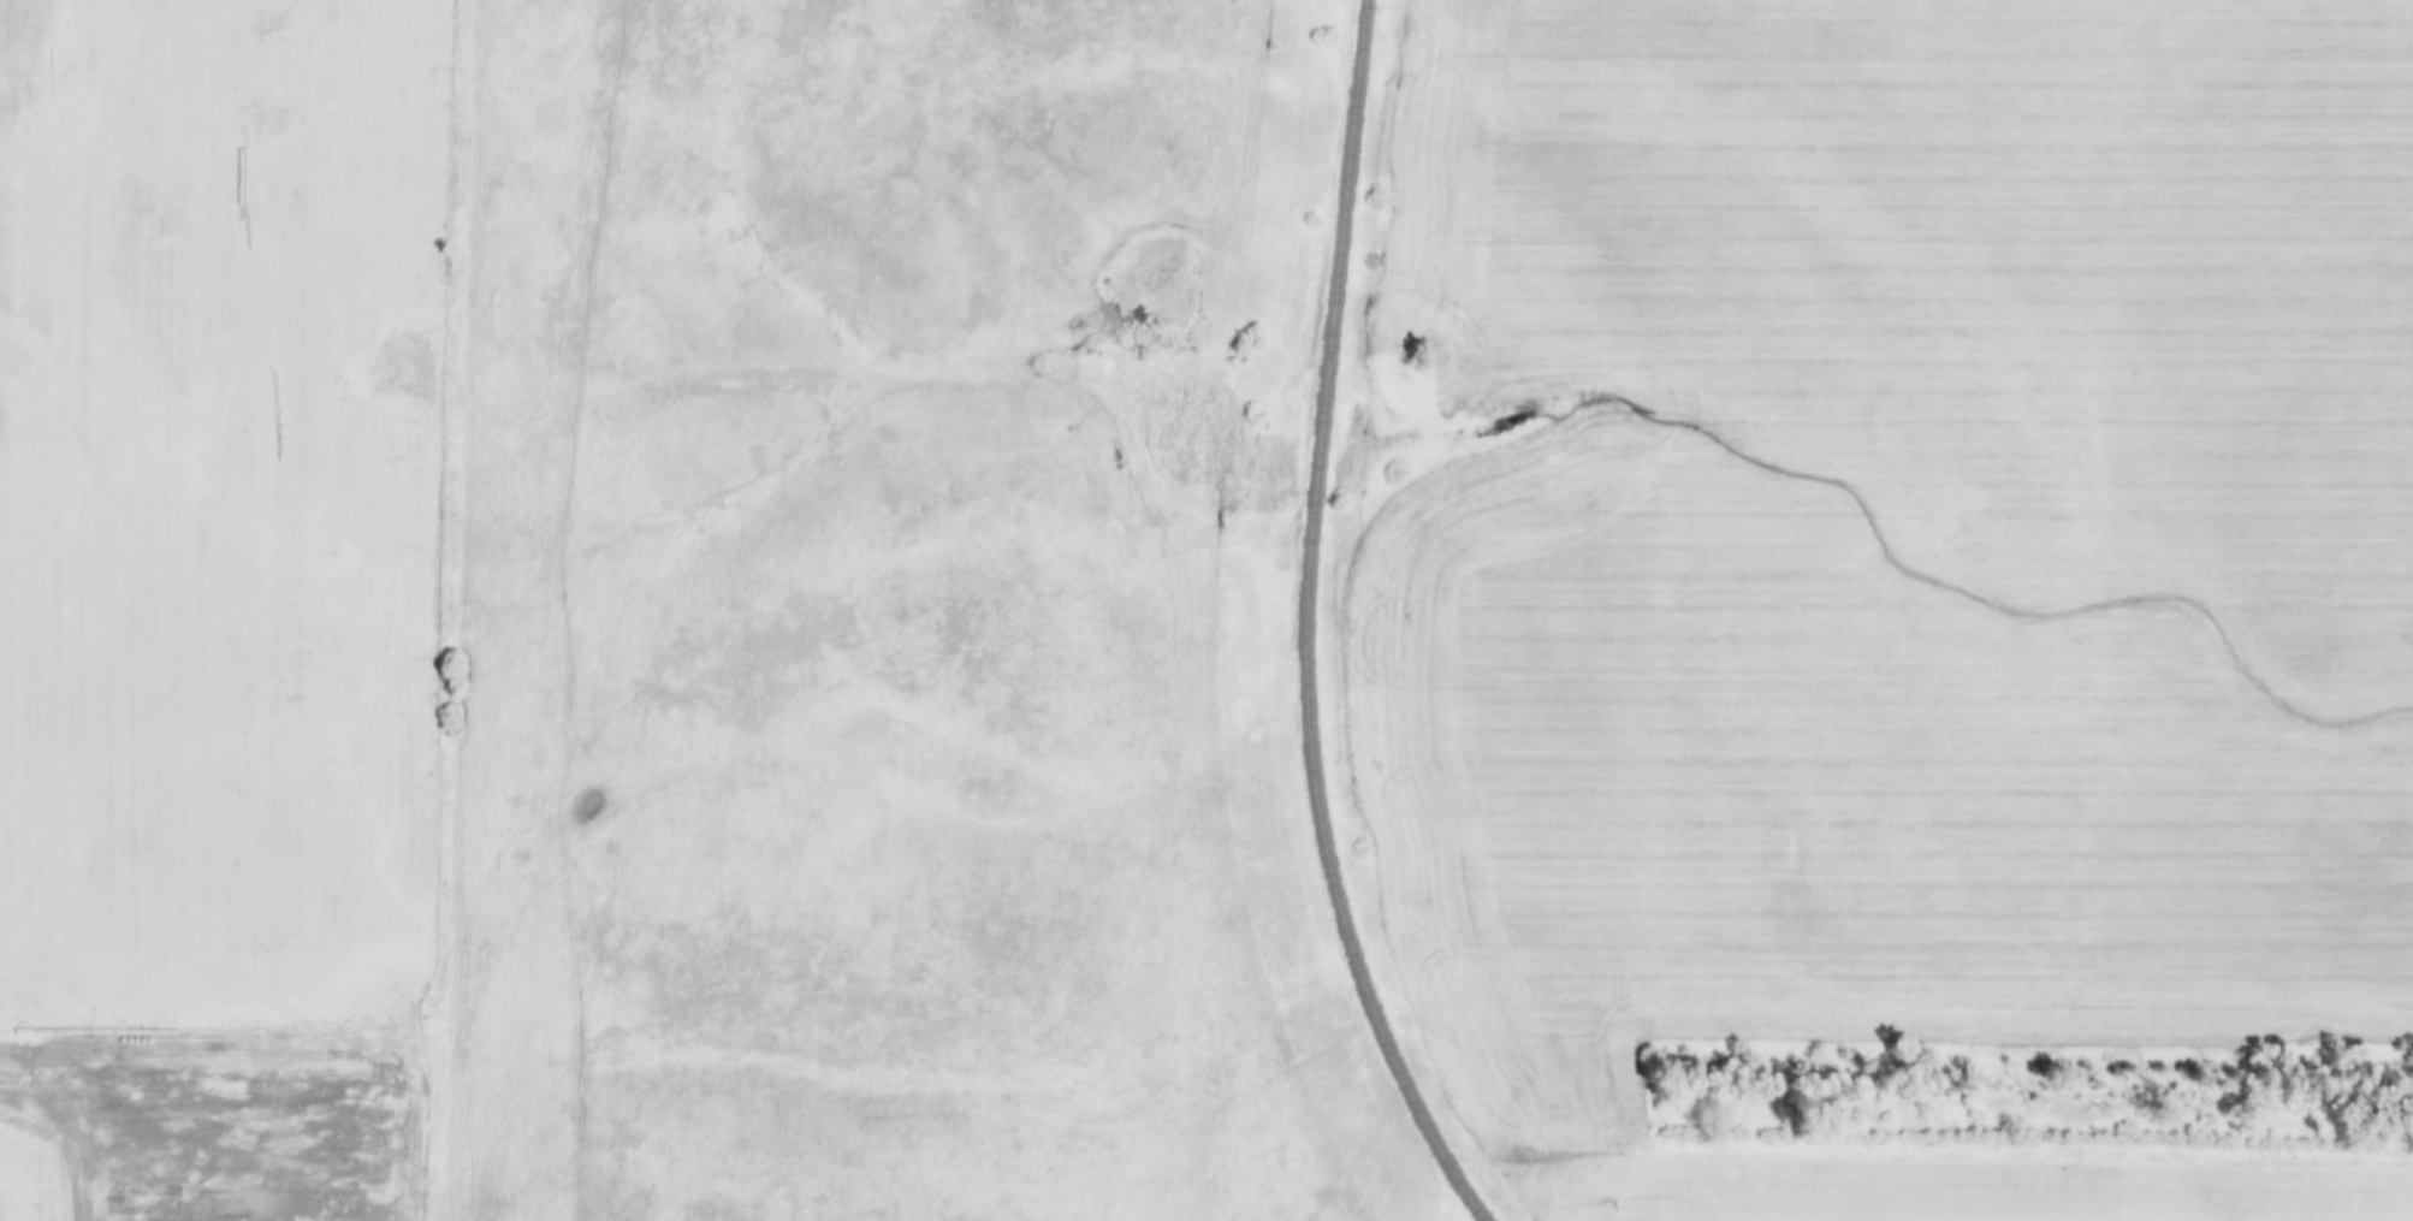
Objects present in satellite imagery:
road: (444, 610)
railway: (1311, 627)

